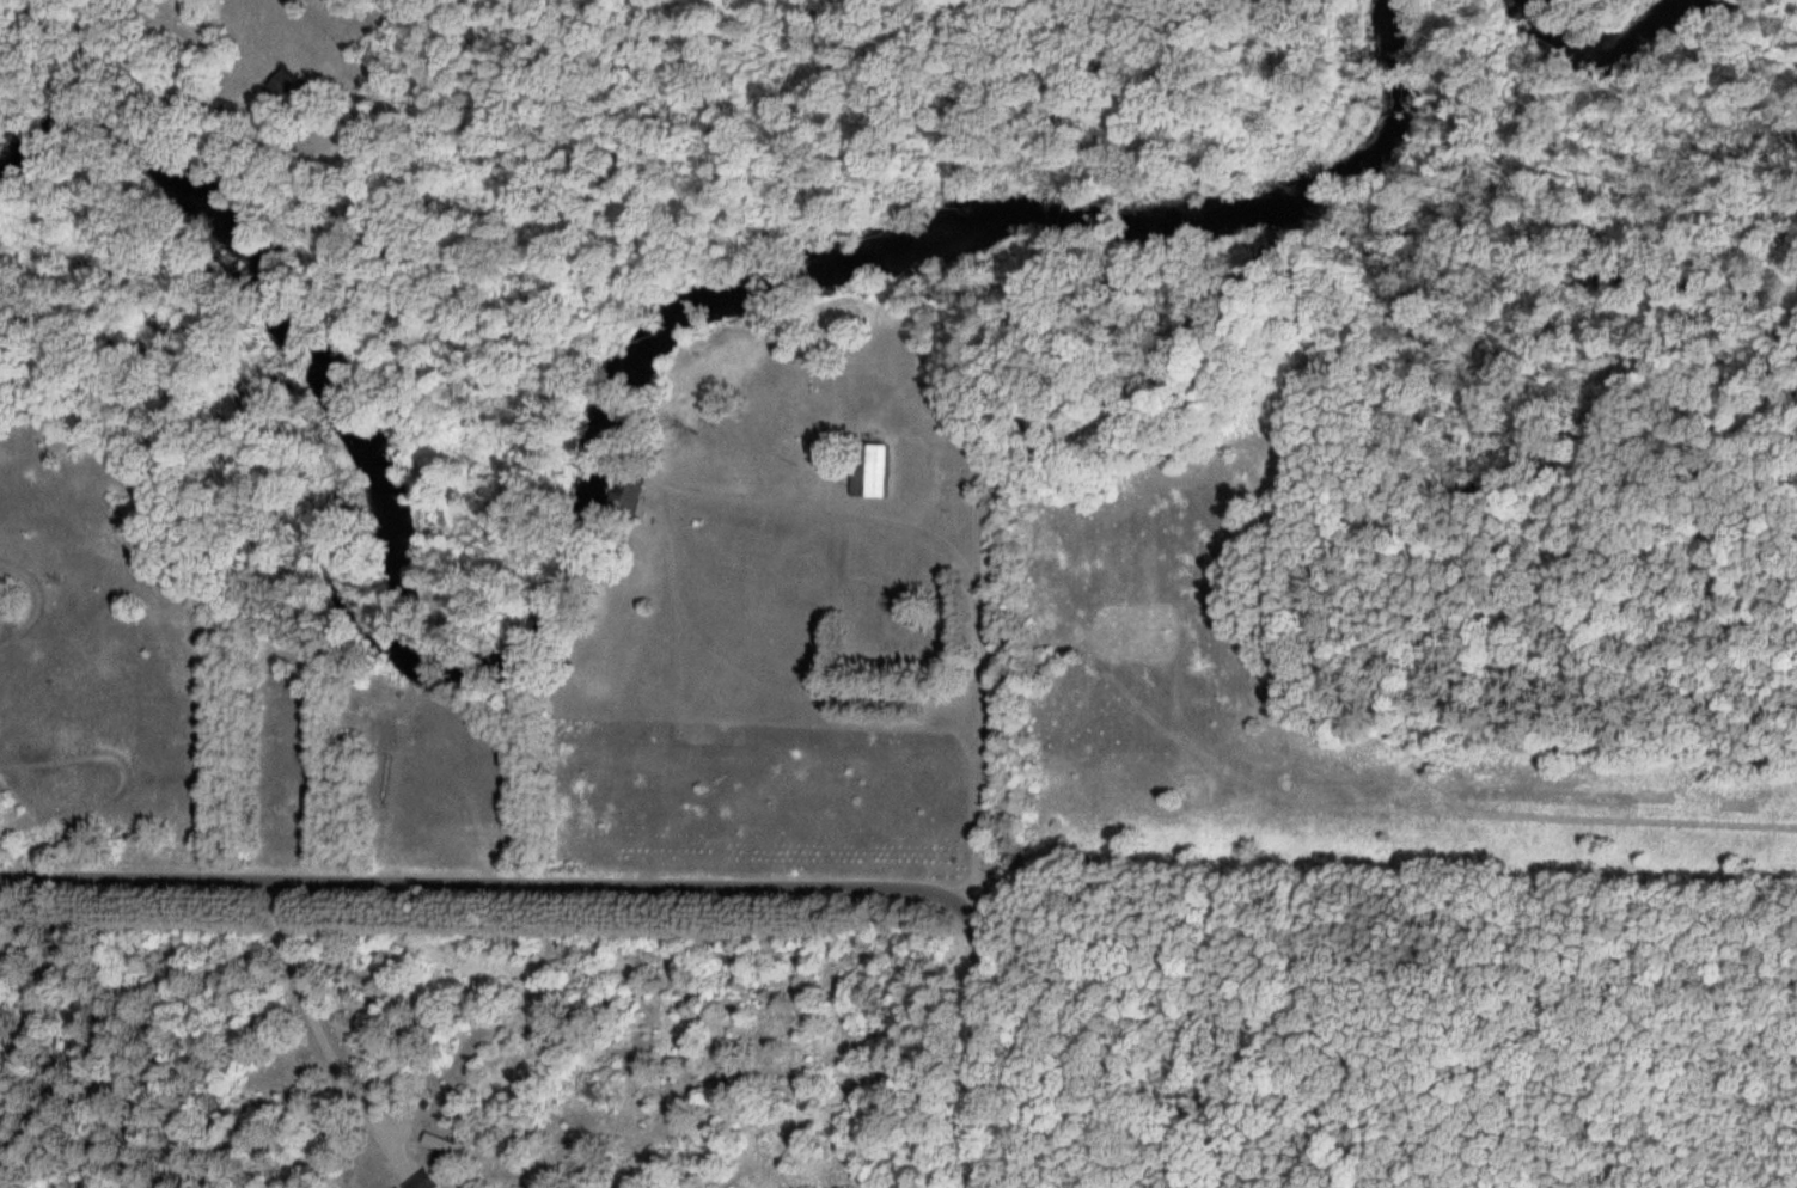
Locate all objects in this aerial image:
river: (1601, 49)
river: (587, 470)
building: (869, 470)
building: (626, 491)
road: (674, 595)
road: (980, 637)
road: (979, 800)
road: (488, 883)
road: (978, 1040)
building: (420, 1181)

